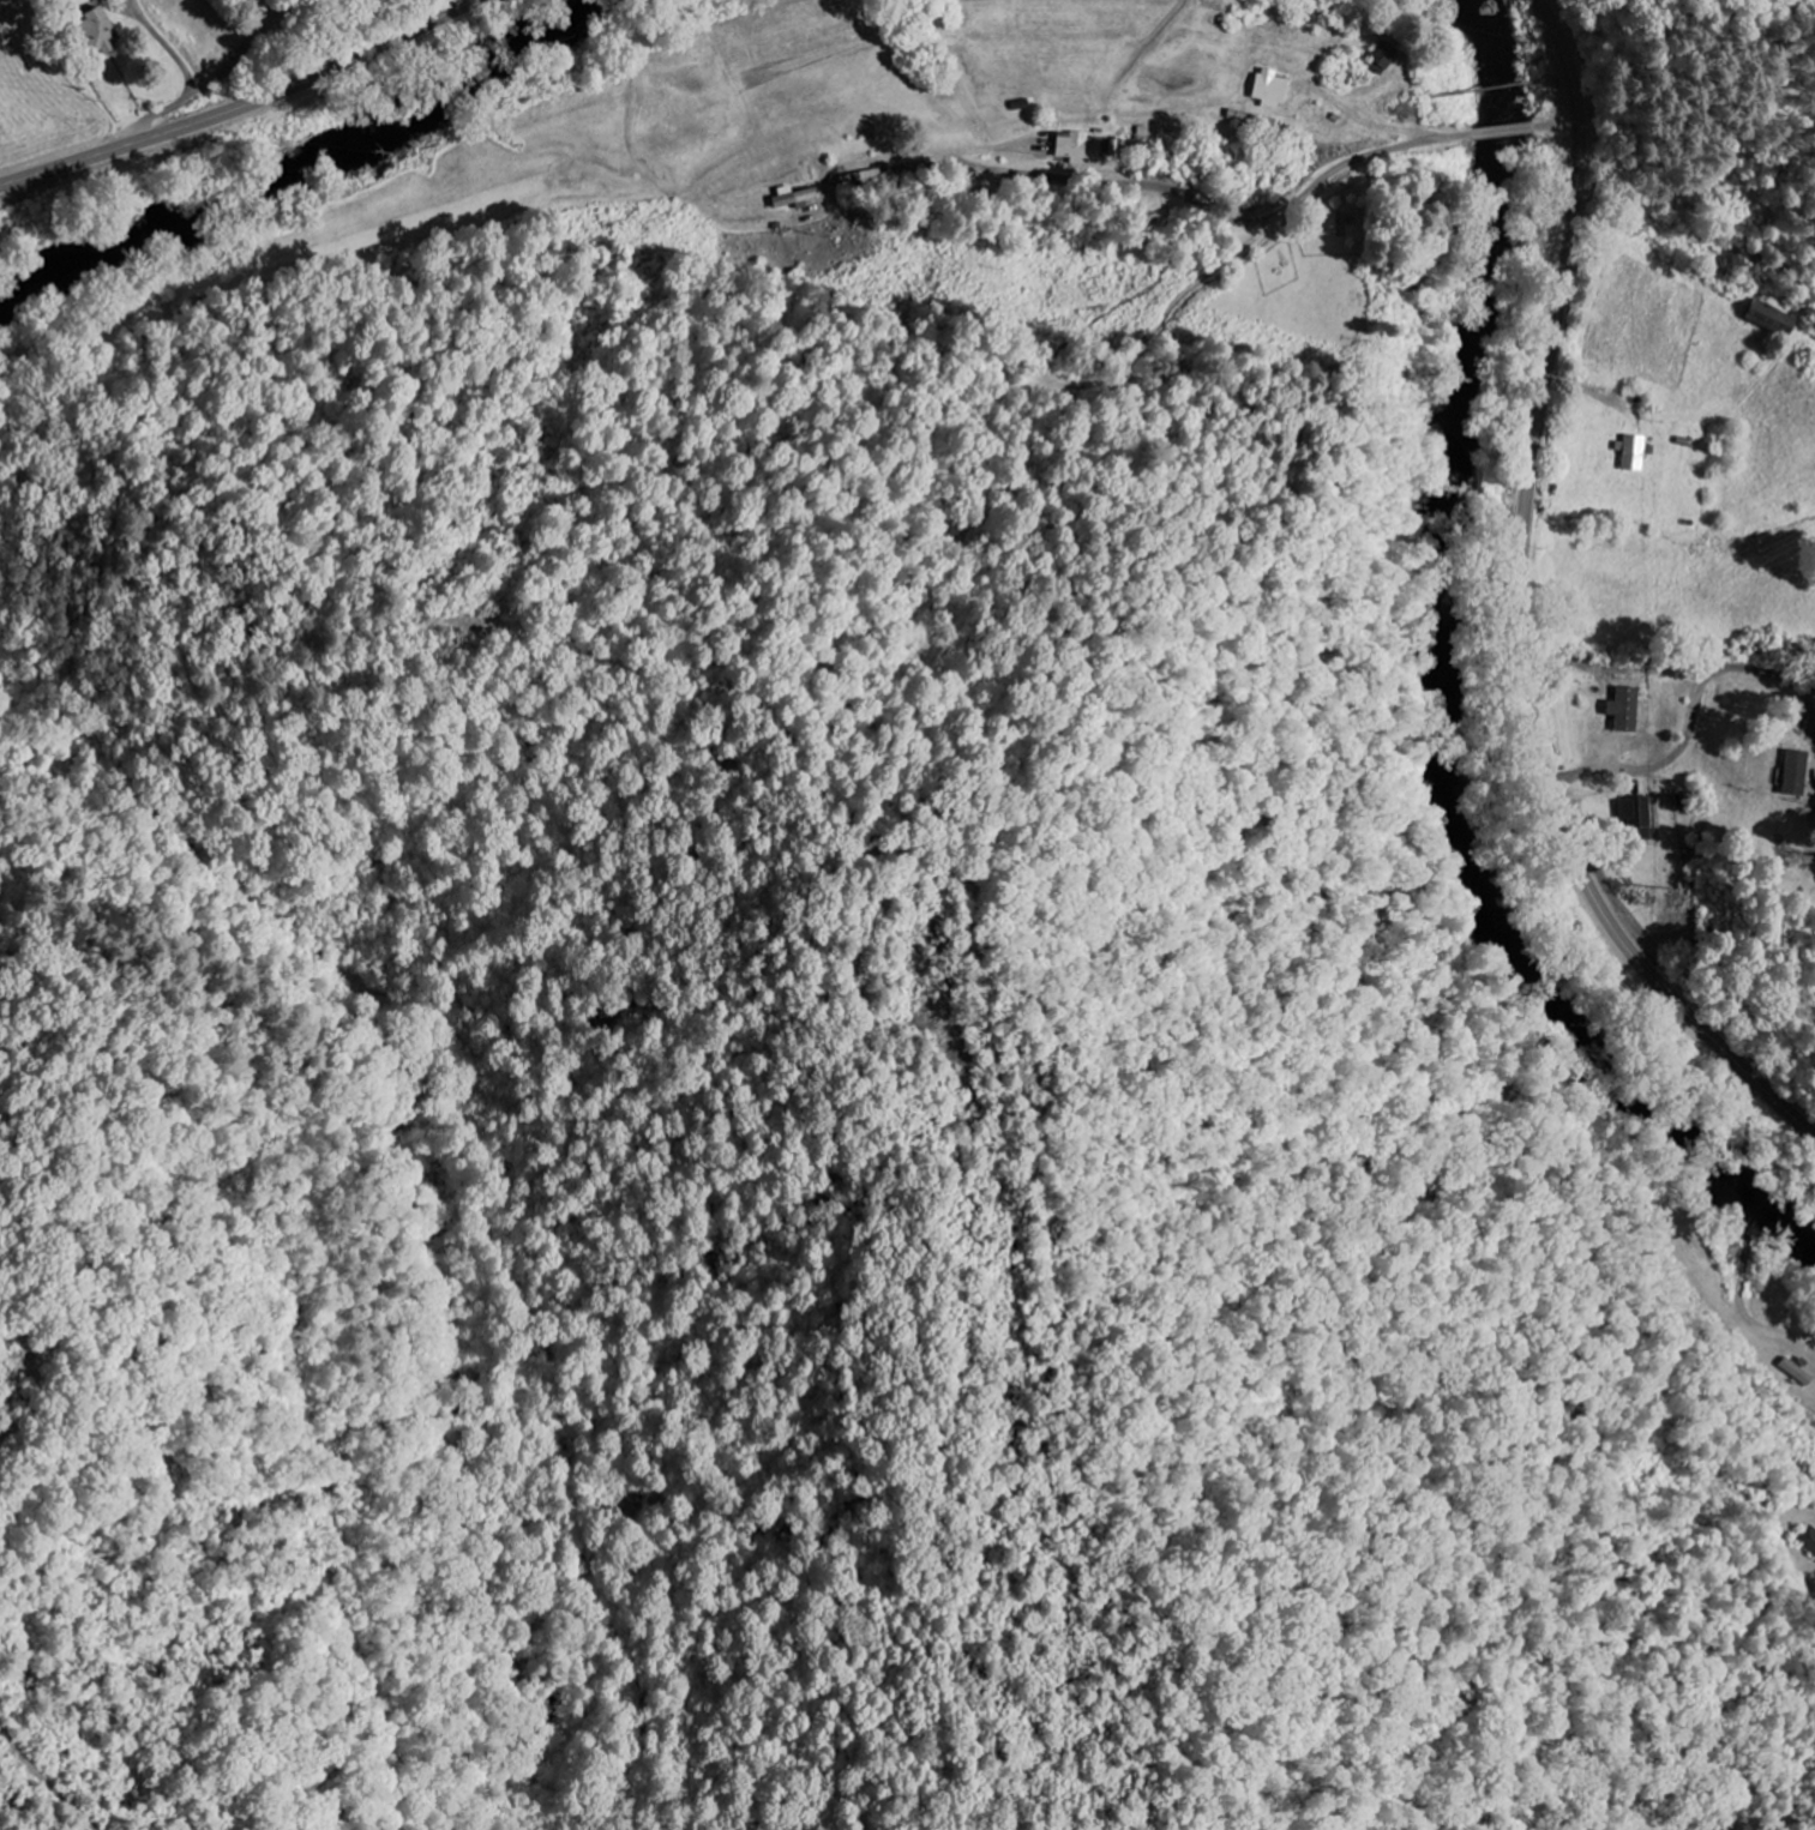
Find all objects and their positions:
building: (106, 31)
building: (1387, 58)
road: (232, 67)
road: (188, 90)
building: (1274, 90)
road: (244, 103)
building: (1081, 148)
building: (798, 198)
building: (1777, 318)
building: (1636, 453)
road: (1521, 609)
building: (1631, 710)
road: (1693, 726)
building: (1799, 773)
building: (1641, 818)
building: (1809, 1540)

